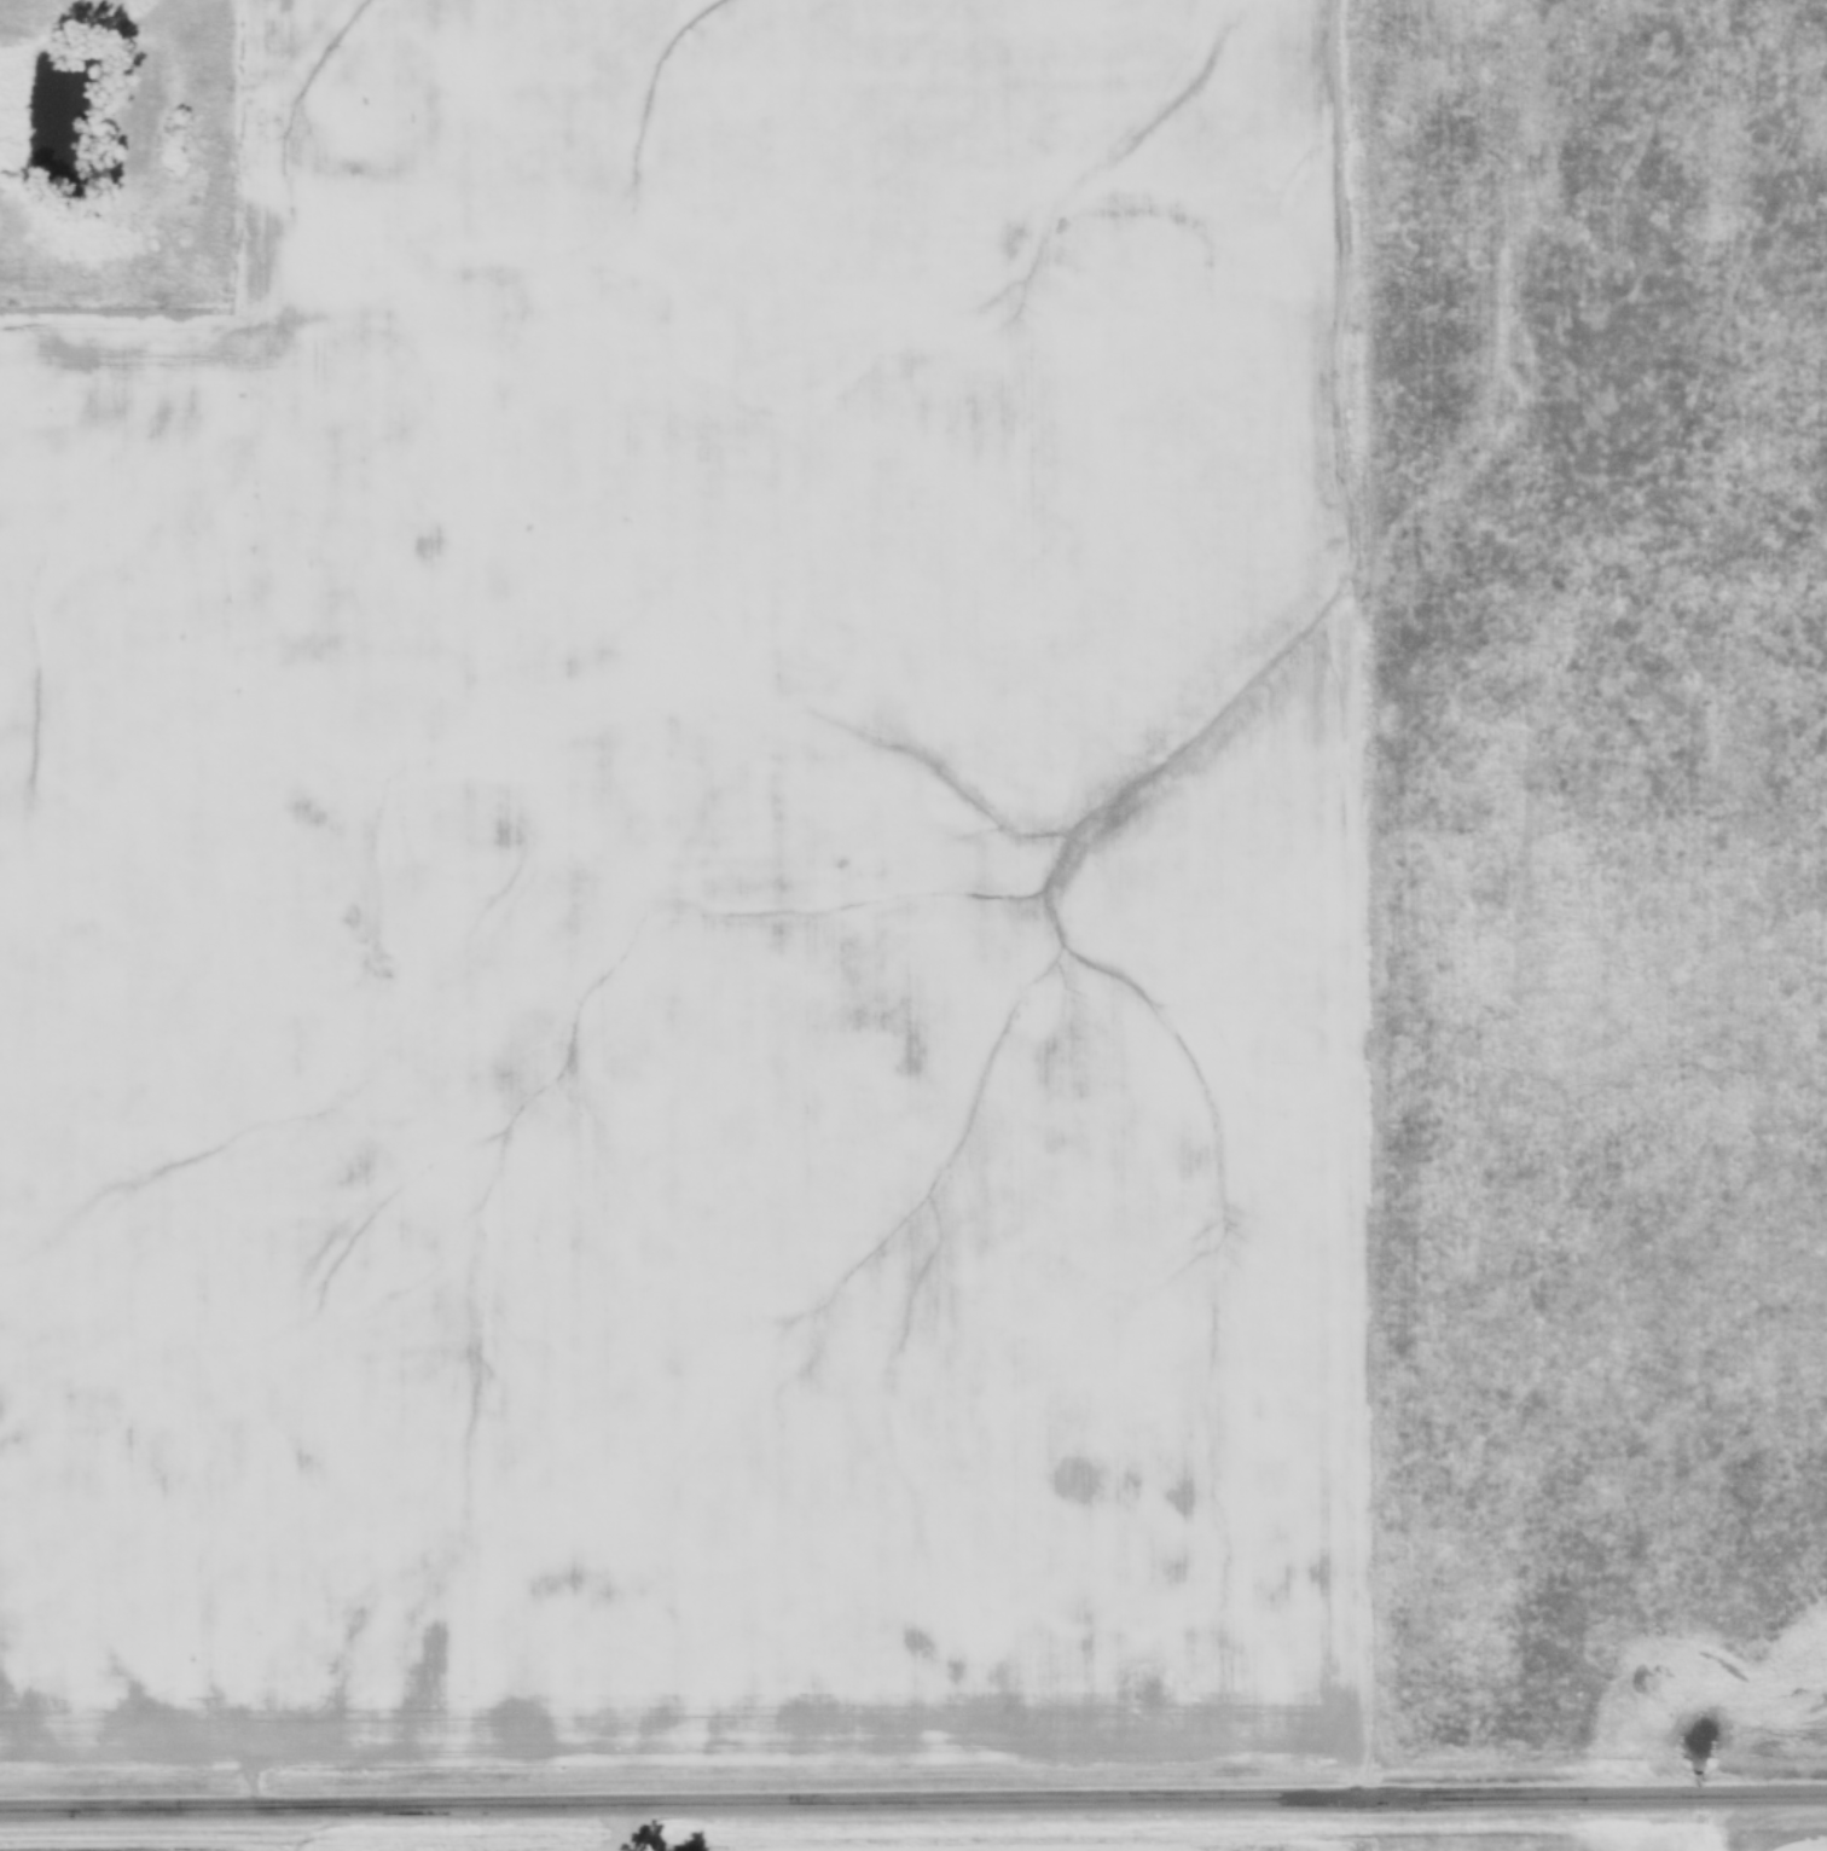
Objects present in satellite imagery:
road: (912, 1799)
road: (636, 1827)

